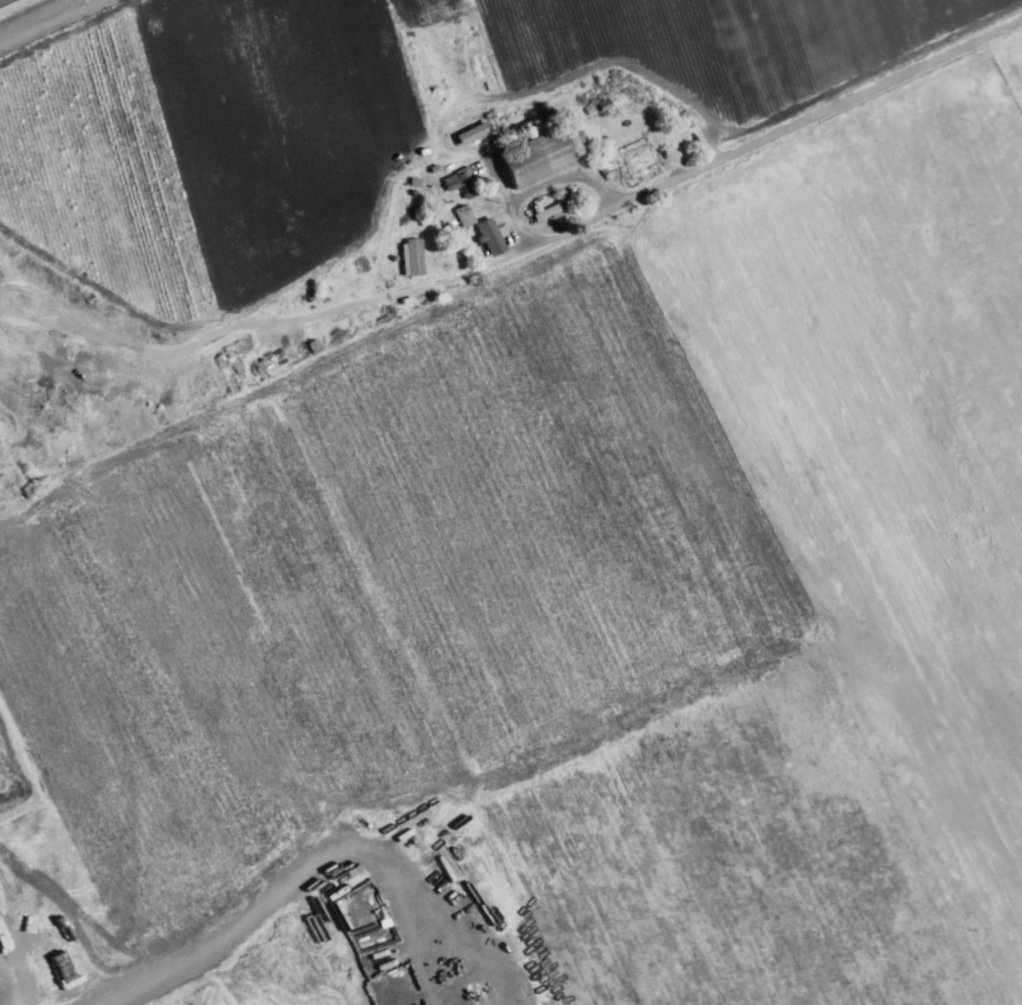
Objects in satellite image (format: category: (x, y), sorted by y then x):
road: (45, 20)
crop: (1008, 89)
building: (605, 107)
building: (474, 133)
building: (573, 139)
road: (766, 143)
building: (637, 161)
building: (536, 163)
building: (463, 187)
building: (546, 210)
building: (551, 214)
building: (461, 215)
building: (491, 238)
building: (418, 255)
crop: (620, 292)
crop: (429, 715)
building: (35, 871)

